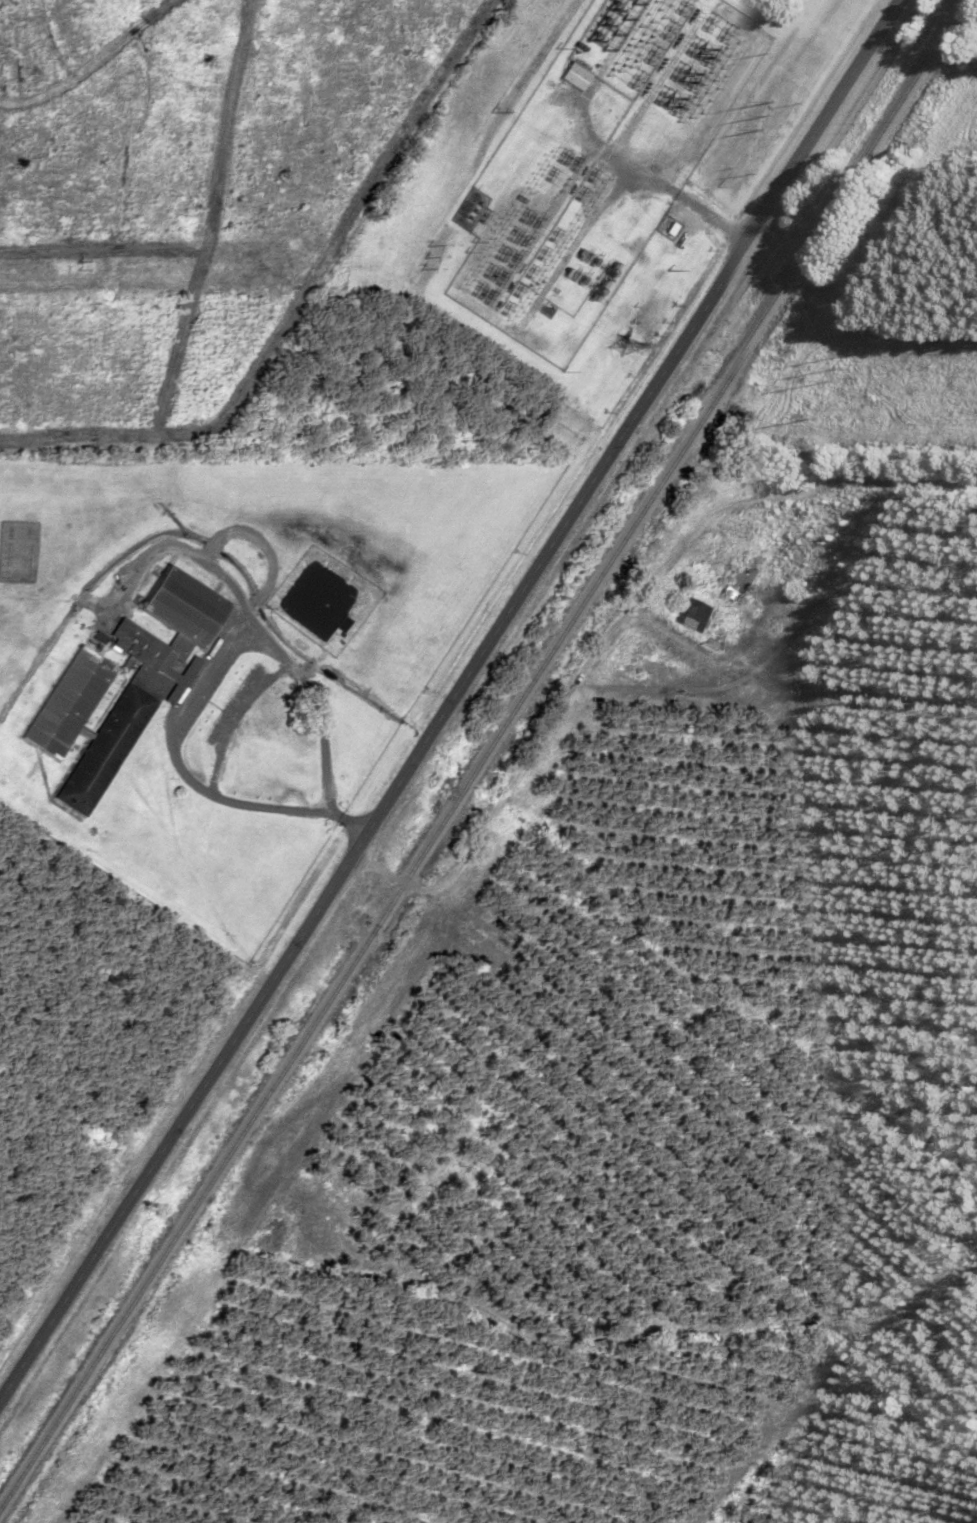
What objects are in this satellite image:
building: (572, 76)
power tower: (766, 111)
power substation: (594, 162)
power tower: (727, 172)
power tower: (623, 341)
power tower: (840, 365)
building: (737, 575)
building: (688, 612)
road: (199, 677)
building: (120, 683)
road: (452, 696)
railway: (482, 747)
road: (342, 820)
road: (578, 1512)

